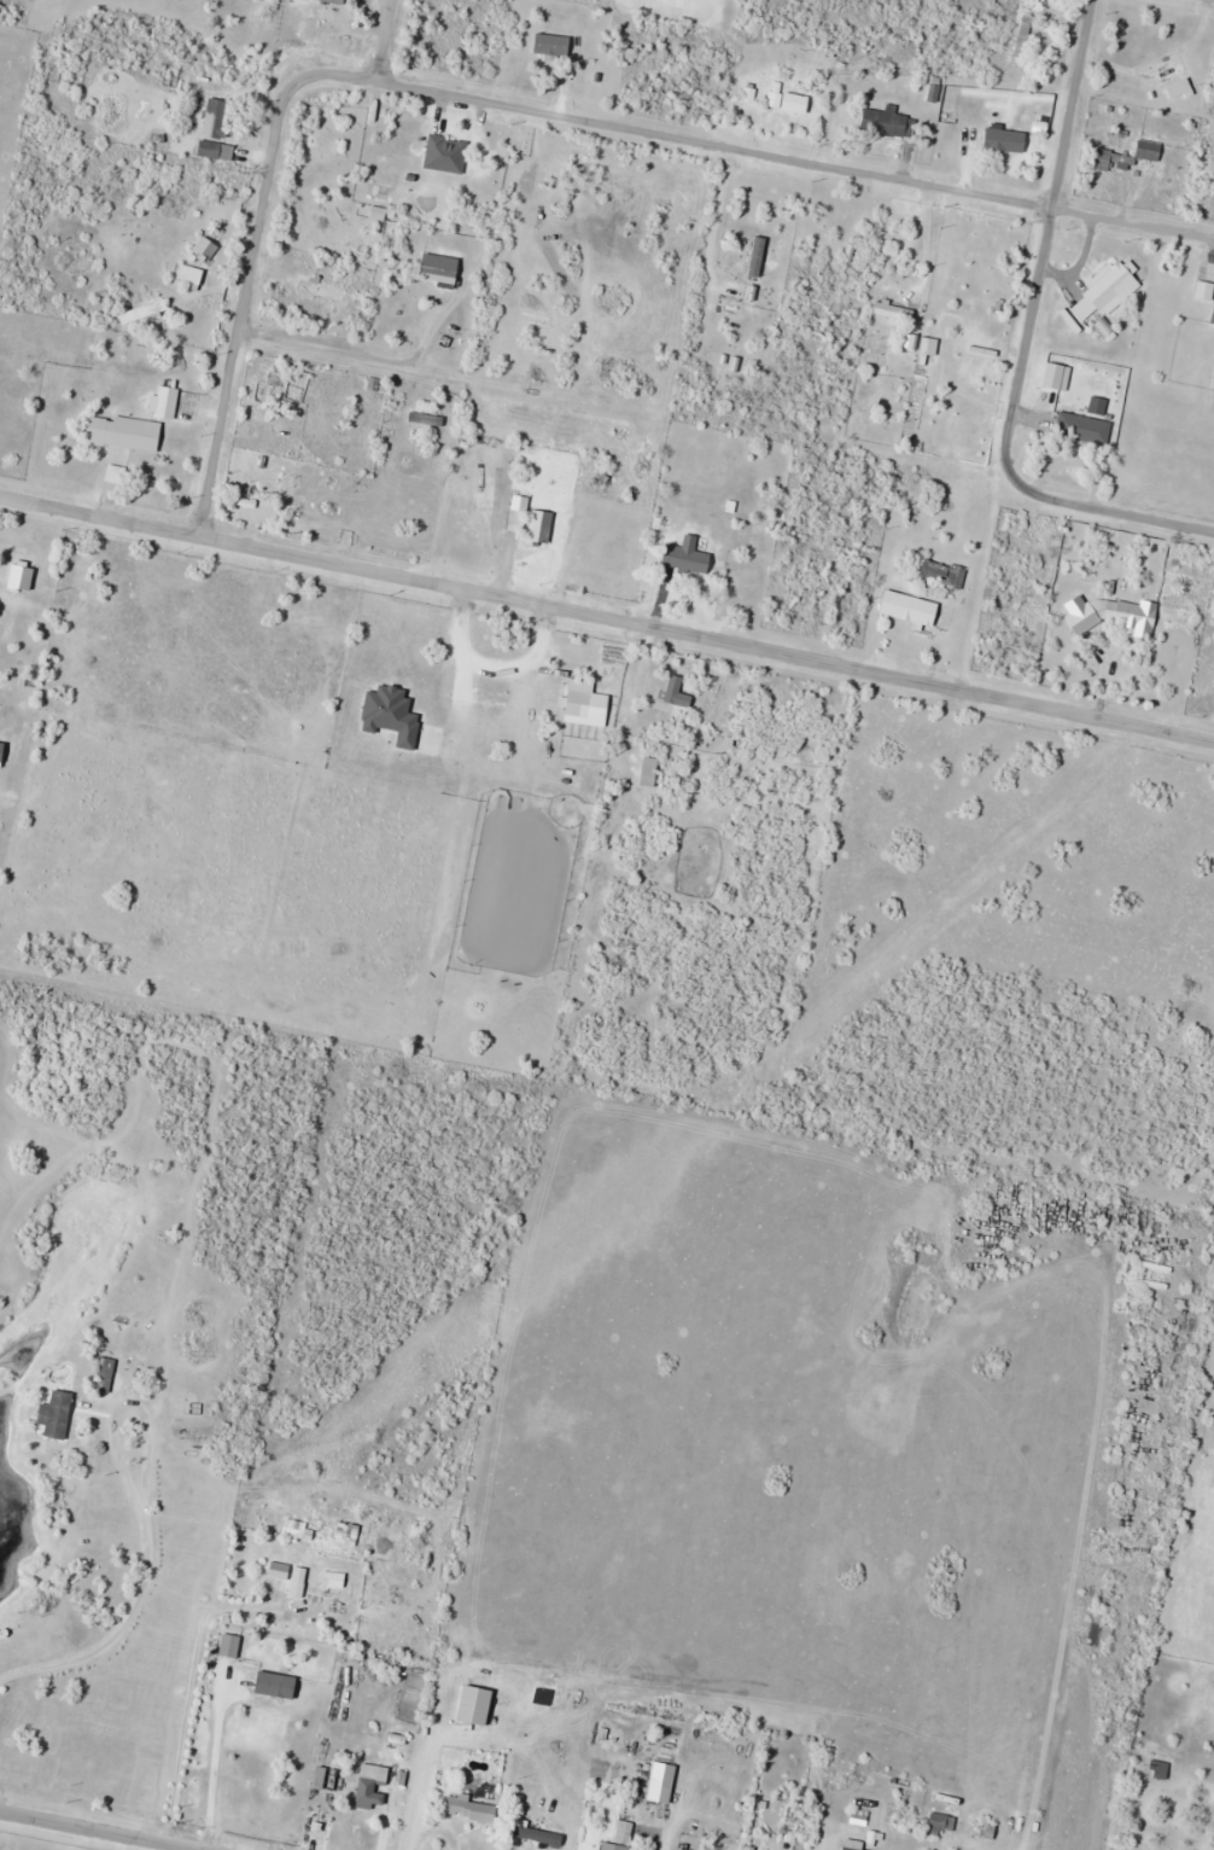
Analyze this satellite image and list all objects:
road: (399, 4)
building: (1028, 33)
road: (387, 42)
building: (553, 46)
building: (1177, 70)
road: (1073, 103)
road: (525, 104)
building: (950, 106)
building: (217, 118)
building: (887, 123)
building: (836, 126)
building: (1006, 140)
building: (217, 151)
building: (447, 155)
building: (1130, 156)
building: (206, 250)
building: (757, 256)
building: (442, 269)
building: (1108, 287)
building: (322, 291)
building: (735, 297)
building: (145, 312)
building: (1213, 318)
road: (1029, 343)
road: (329, 348)
building: (1084, 427)
building: (124, 432)
road: (1109, 507)
building: (541, 528)
building: (691, 557)
building: (939, 572)
building: (911, 609)
building: (8, 612)
road: (607, 615)
building: (1113, 616)
building: (478, 690)
building: (679, 692)
building: (650, 770)
building: (109, 1367)
building: (58, 1414)
building: (349, 1534)
building: (291, 1576)
building: (335, 1580)
building: (12, 1627)
building: (232, 1646)
building: (478, 1705)
park: (1166, 1759)
building: (1161, 1769)
building: (327, 1778)
building: (664, 1784)
building: (373, 1785)
building: (474, 1810)
building: (942, 1826)
building: (625, 1836)
road: (62, 1837)
building: (673, 1849)

